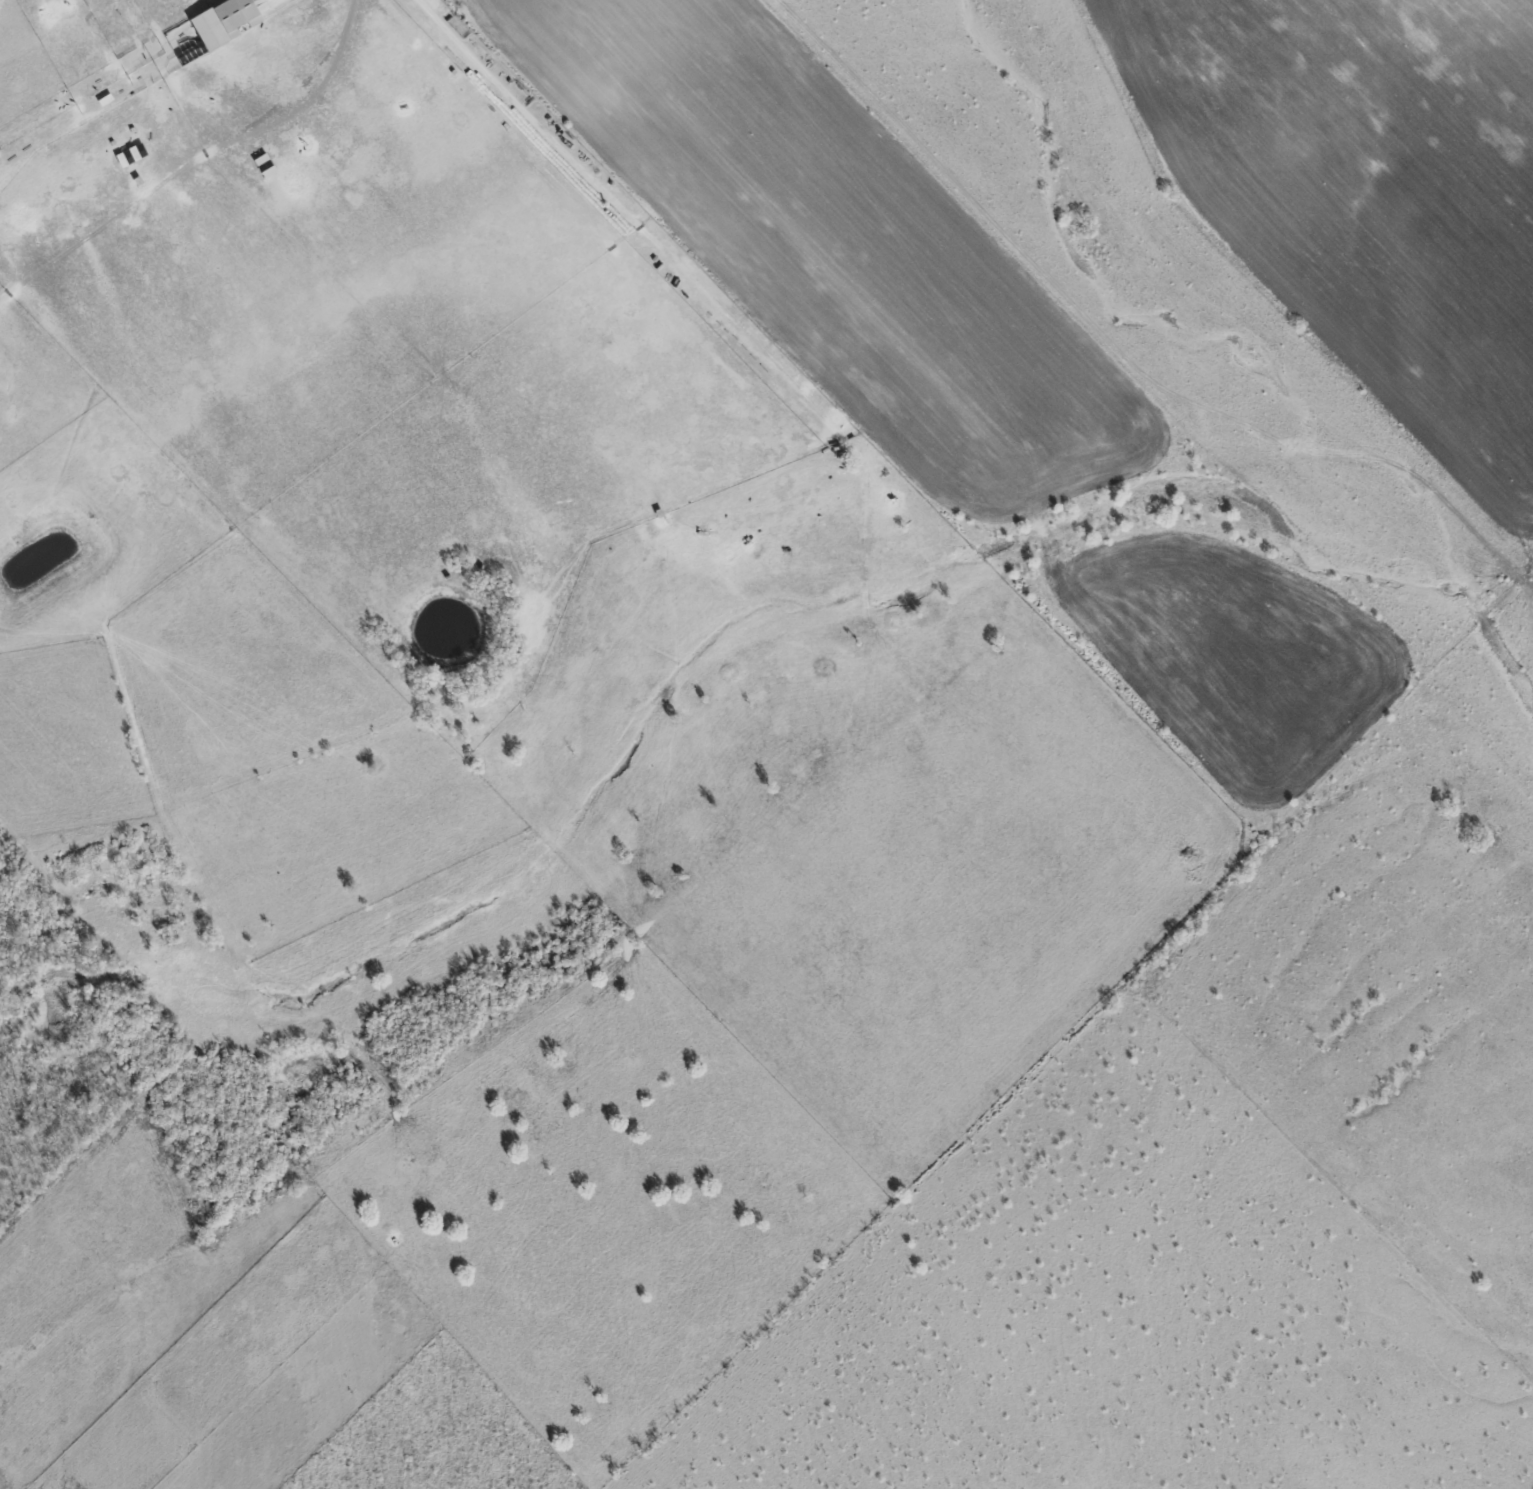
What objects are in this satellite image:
road: (268, 1)
building: (216, 21)

